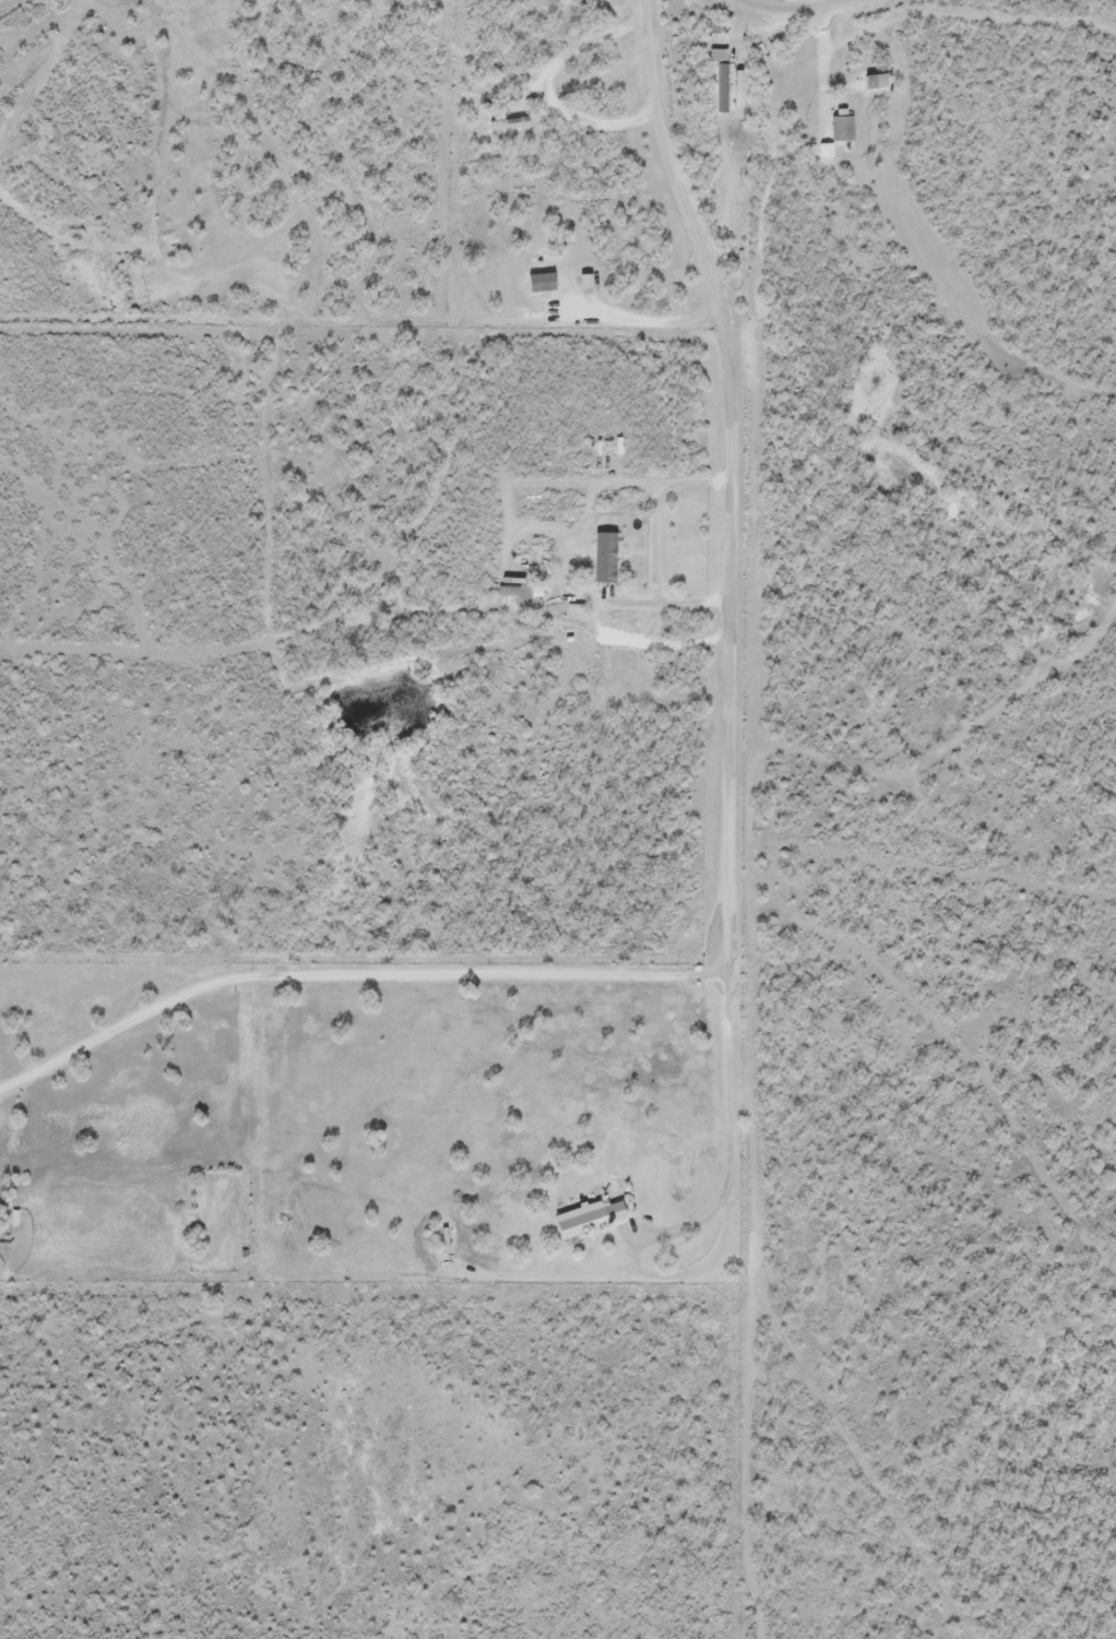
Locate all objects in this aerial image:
road: (780, 12)
building: (878, 79)
building: (725, 86)
building: (511, 121)
building: (843, 128)
building: (827, 147)
building: (542, 283)
road: (725, 471)
building: (606, 556)
building: (597, 568)
building: (595, 669)
road: (710, 1210)
building: (15, 1216)
building: (591, 1216)

